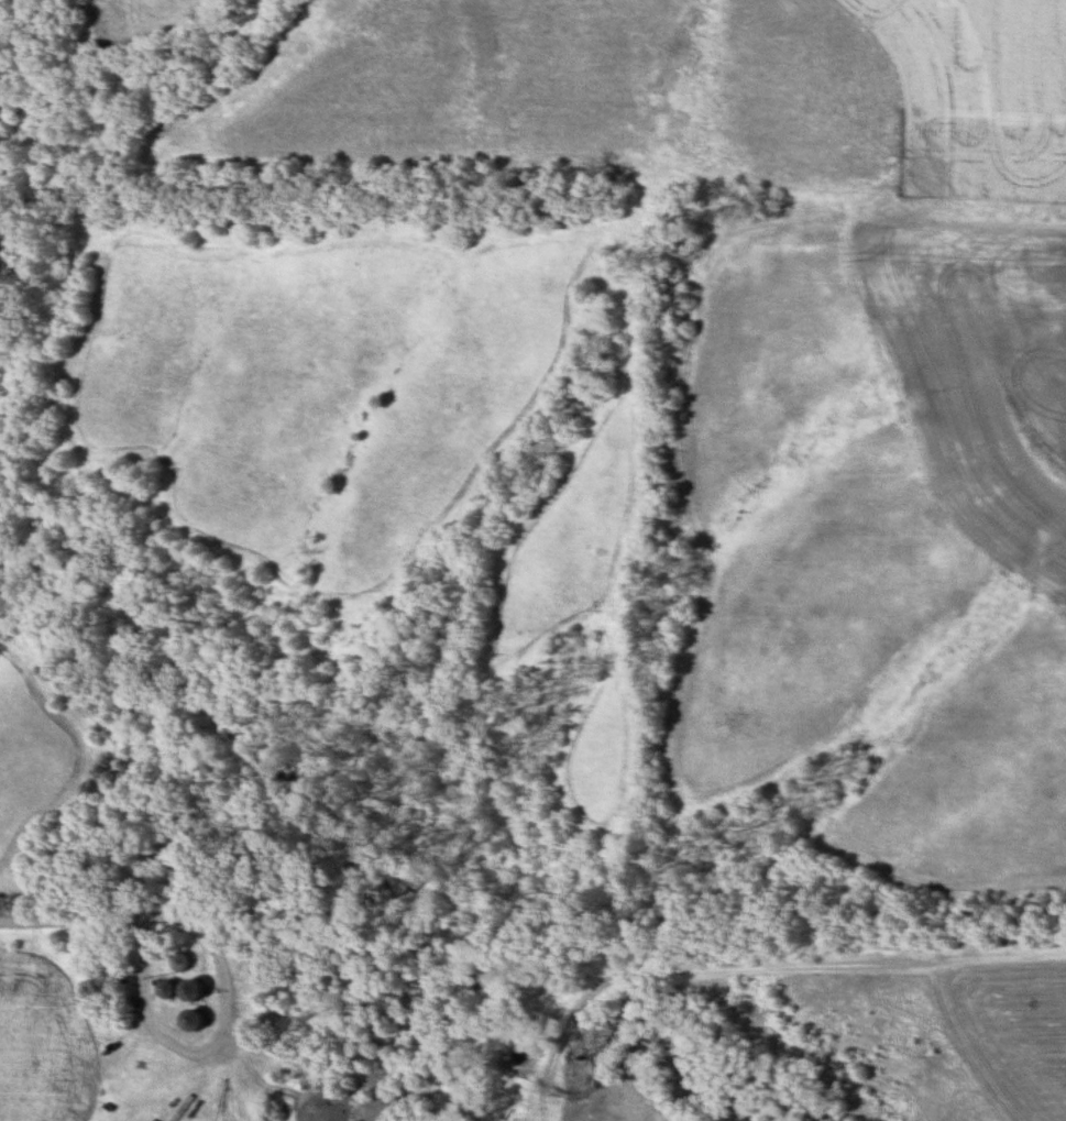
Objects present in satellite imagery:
building: (185, 961)
building: (173, 989)
building: (198, 1021)

